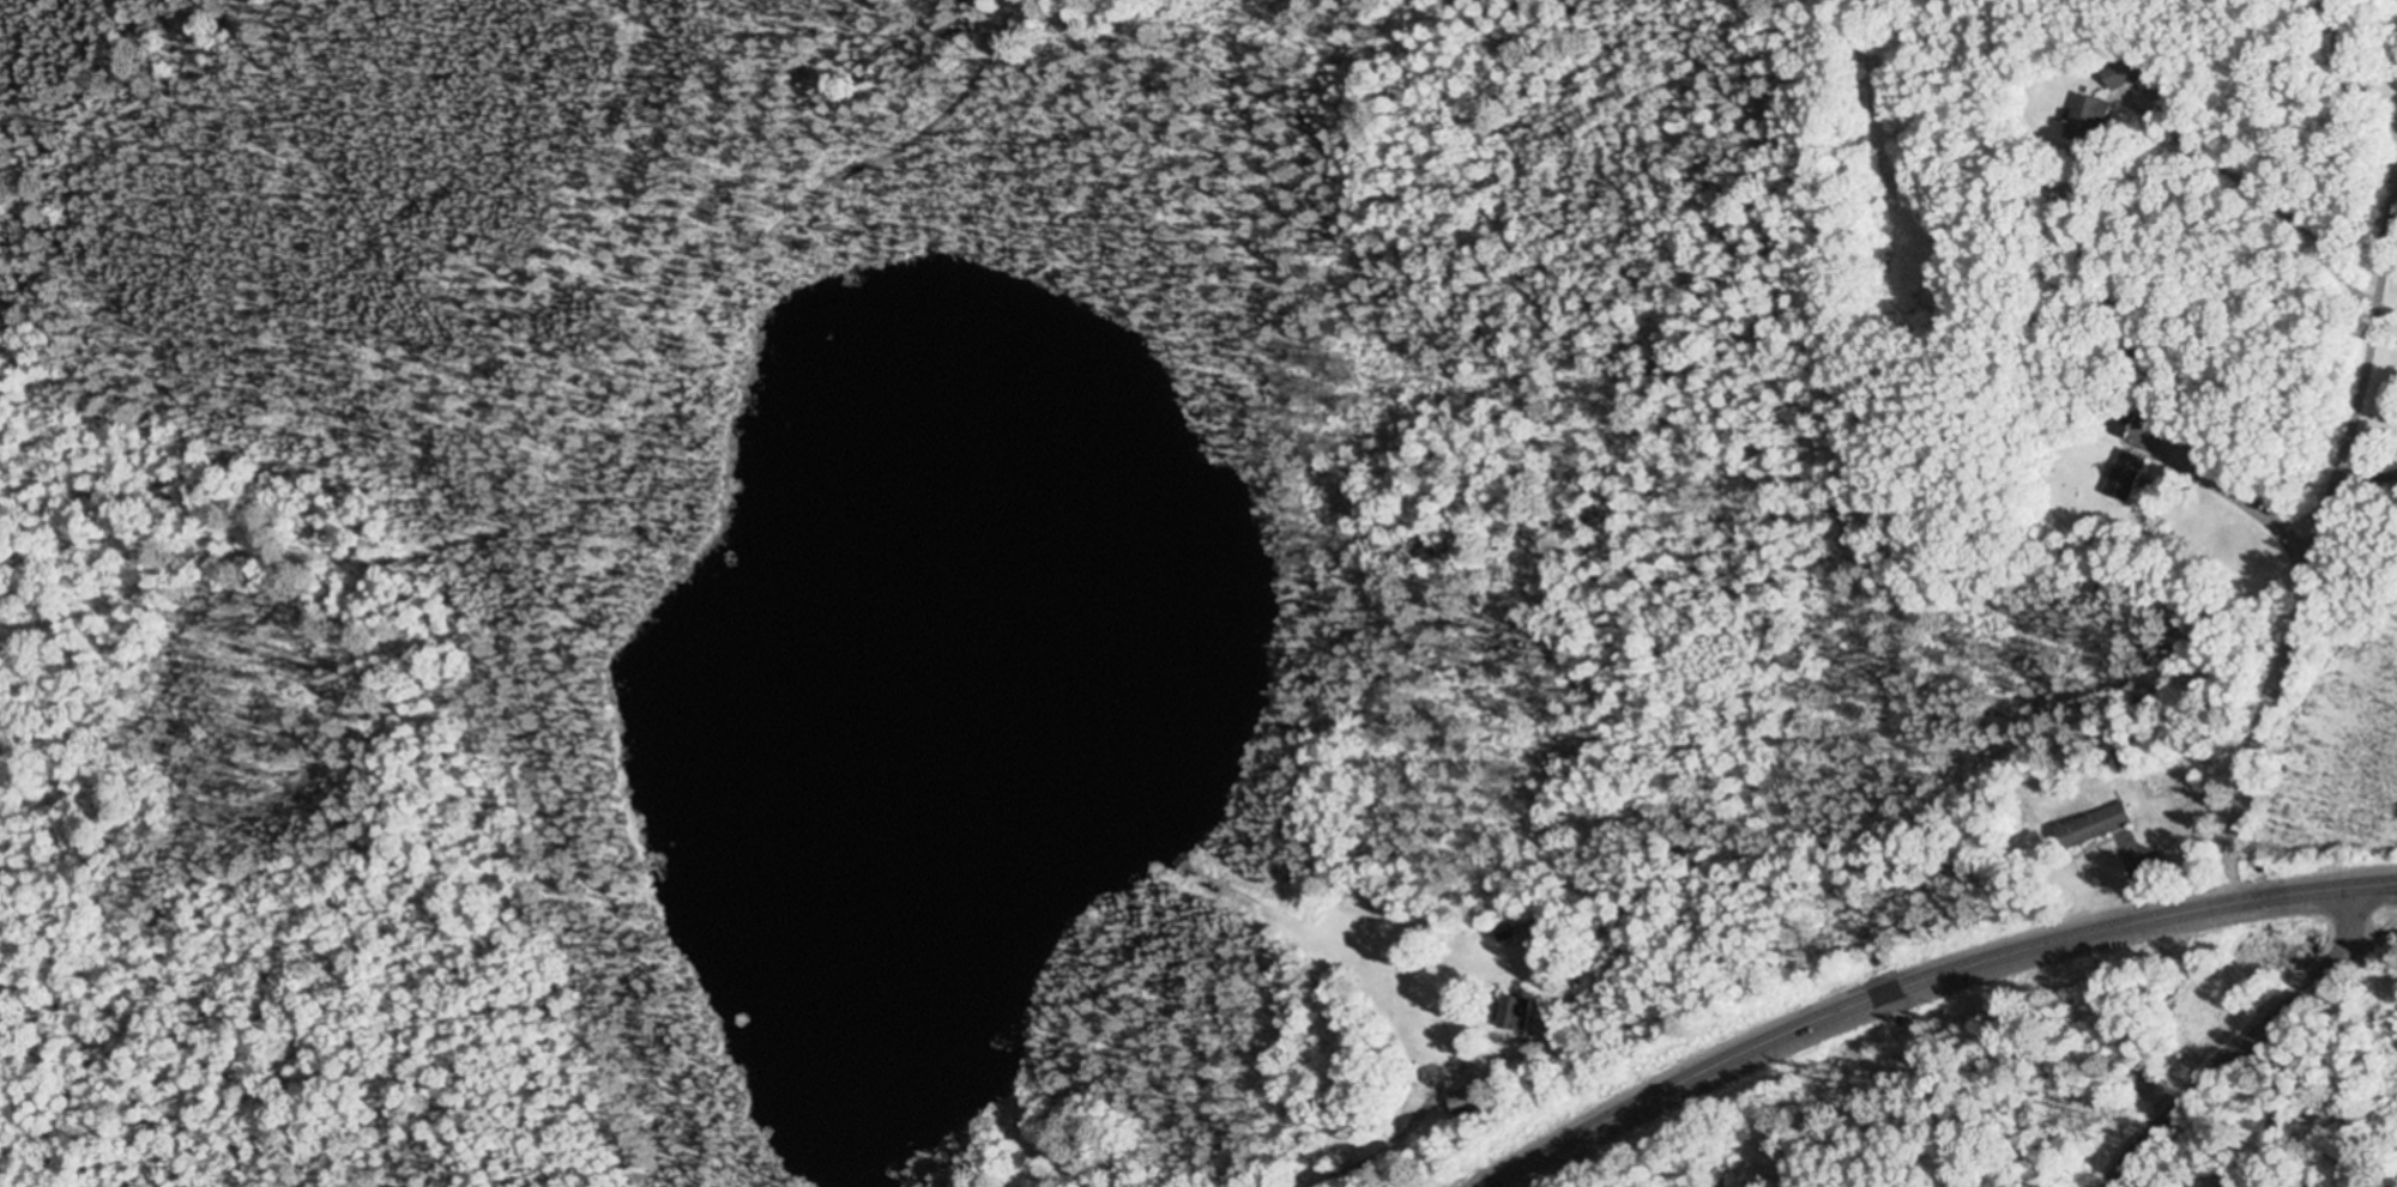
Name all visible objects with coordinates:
building: (2117, 74)
building: (2087, 123)
building: (2114, 424)
building: (2121, 479)
road: (2310, 556)
building: (2088, 829)
building: (1502, 934)
road: (1927, 982)
building: (1510, 1016)
road: (2251, 1044)
building: (1468, 1101)
road: (2257, 1121)

